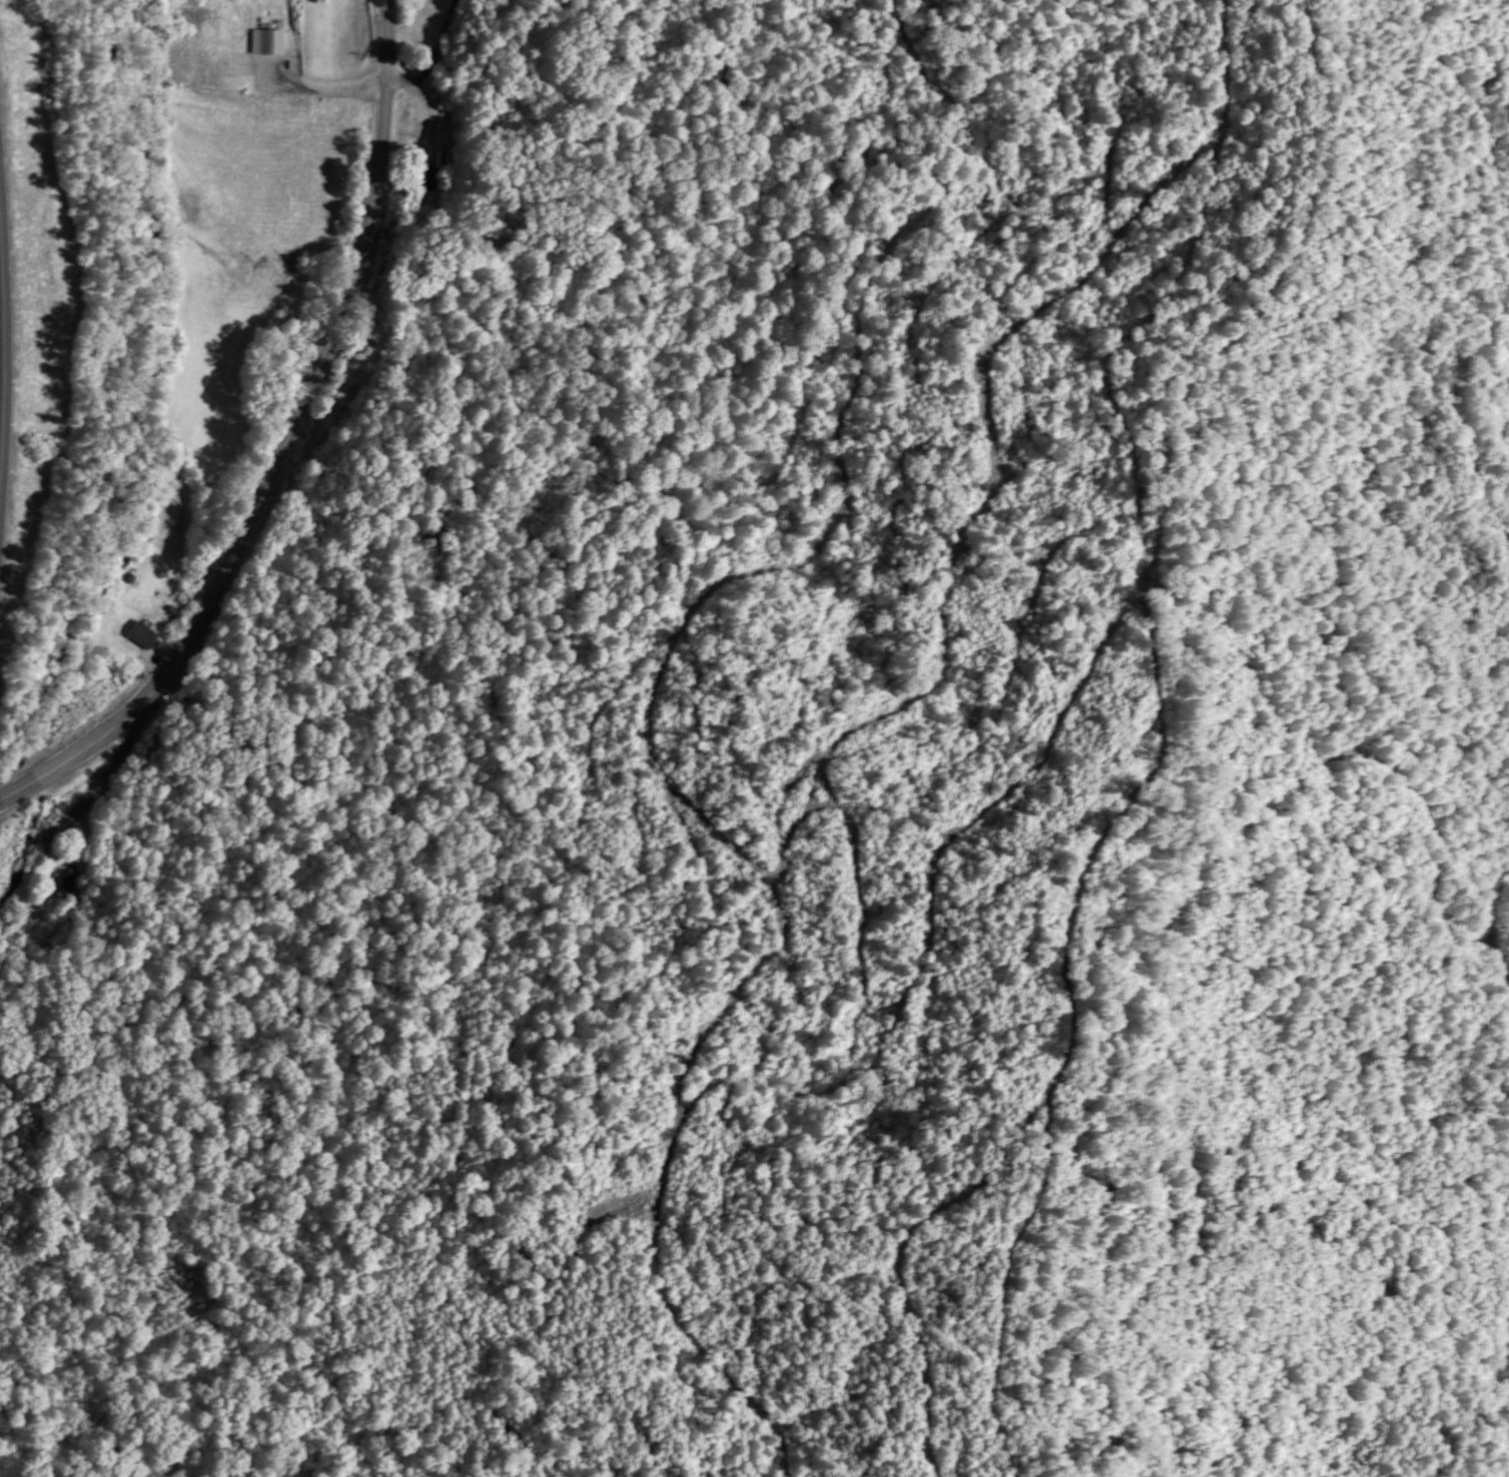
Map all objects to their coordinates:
building: (267, 43)
building: (429, 177)
road: (288, 449)
building: (142, 637)
road: (1490, 926)

